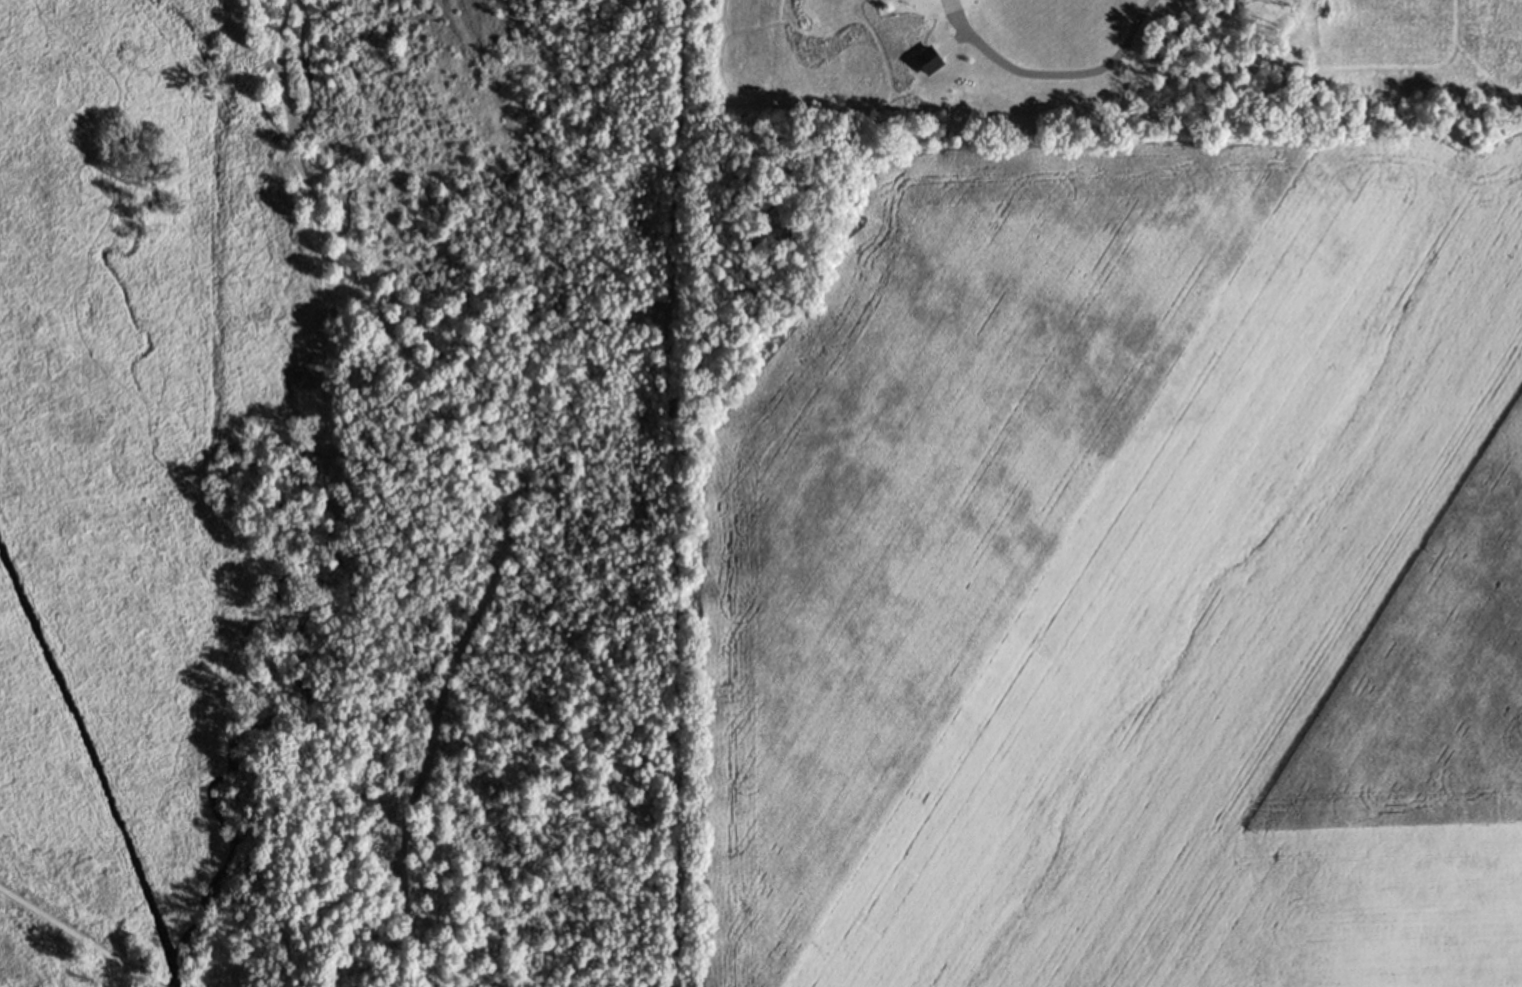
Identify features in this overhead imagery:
road: (1052, 74)
road: (324, 245)
road: (68, 932)
road: (146, 981)

